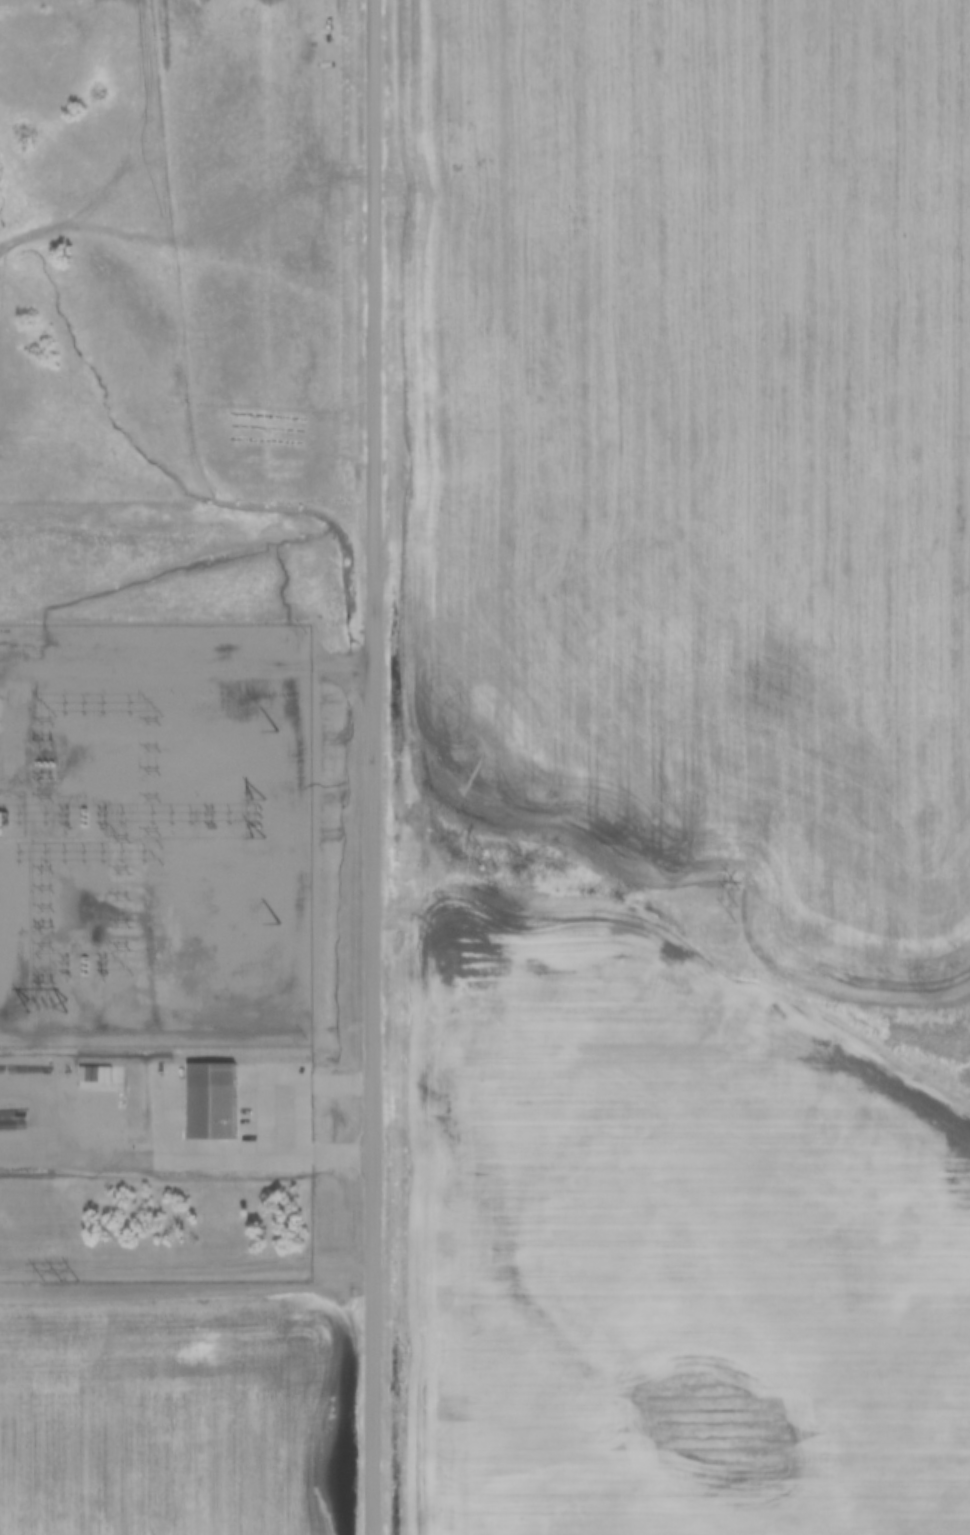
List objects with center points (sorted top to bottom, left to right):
road: (189, 237)
road: (186, 666)
road: (372, 767)
power substation: (155, 835)
power tower: (485, 860)
power tower: (740, 904)
building: (228, 1090)
road: (53, 1104)
road: (249, 1117)
road: (125, 1157)
road: (186, 1268)
power tower: (63, 1283)

